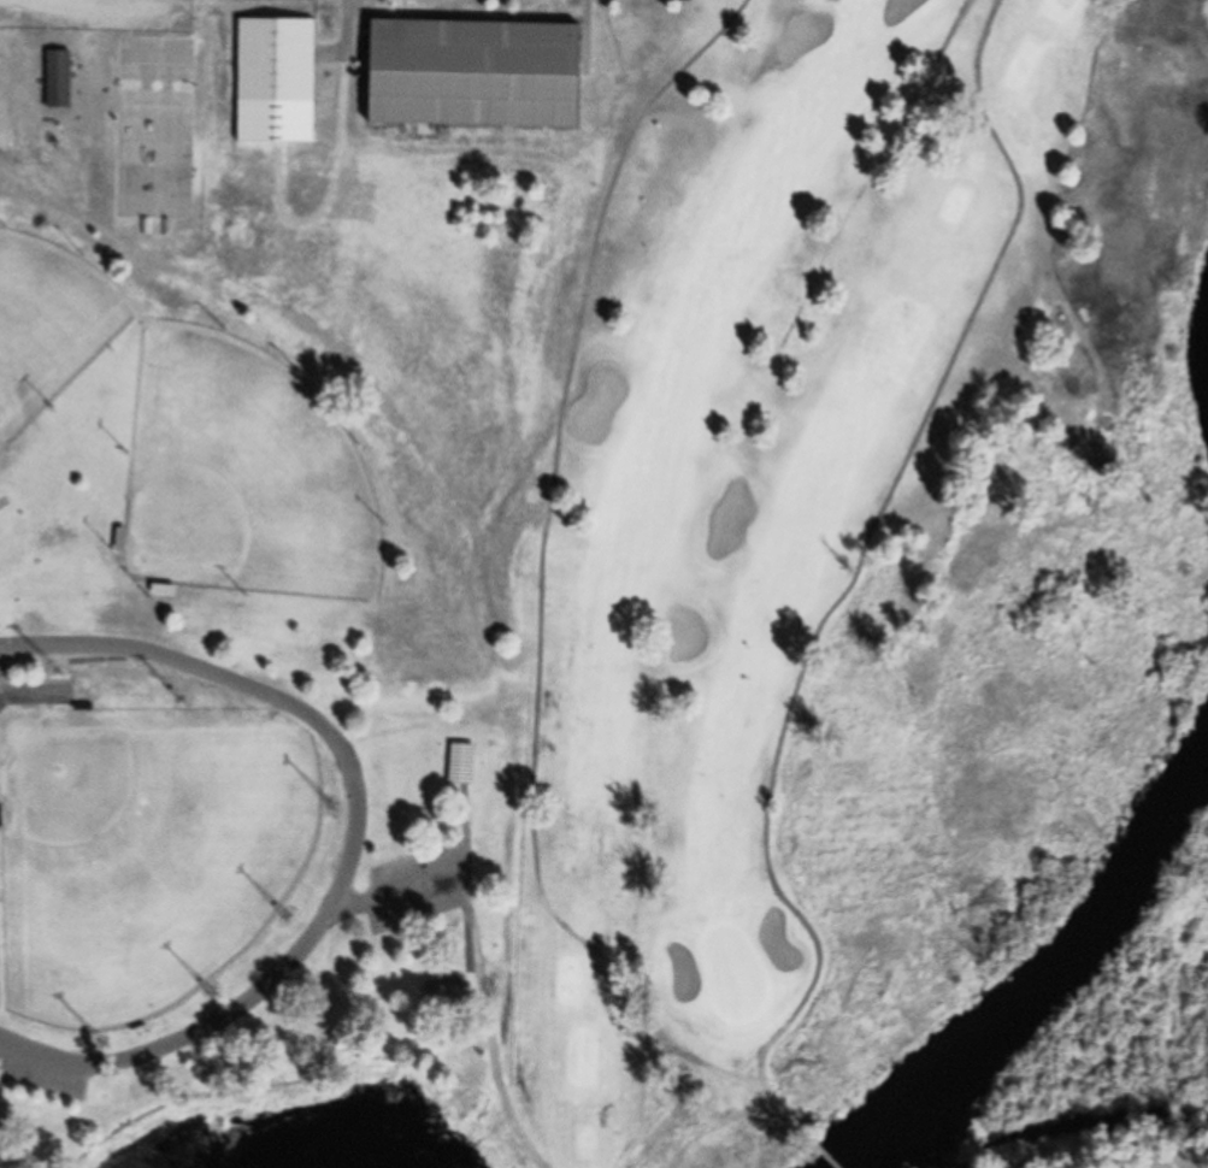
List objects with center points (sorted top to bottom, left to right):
building: (277, 1)
road: (67, 4)
building: (466, 75)
building: (53, 81)
building: (271, 82)
park: (155, 129)
road: (873, 175)
park: (48, 329)
park: (242, 480)
park: (267, 530)
road: (543, 558)
park: (868, 609)
road: (831, 612)
road: (291, 708)
building: (459, 763)
park: (143, 853)
river: (1027, 950)
building: (442, 995)
road: (155, 1056)
parking lot: (43, 1069)
road: (719, 1148)

